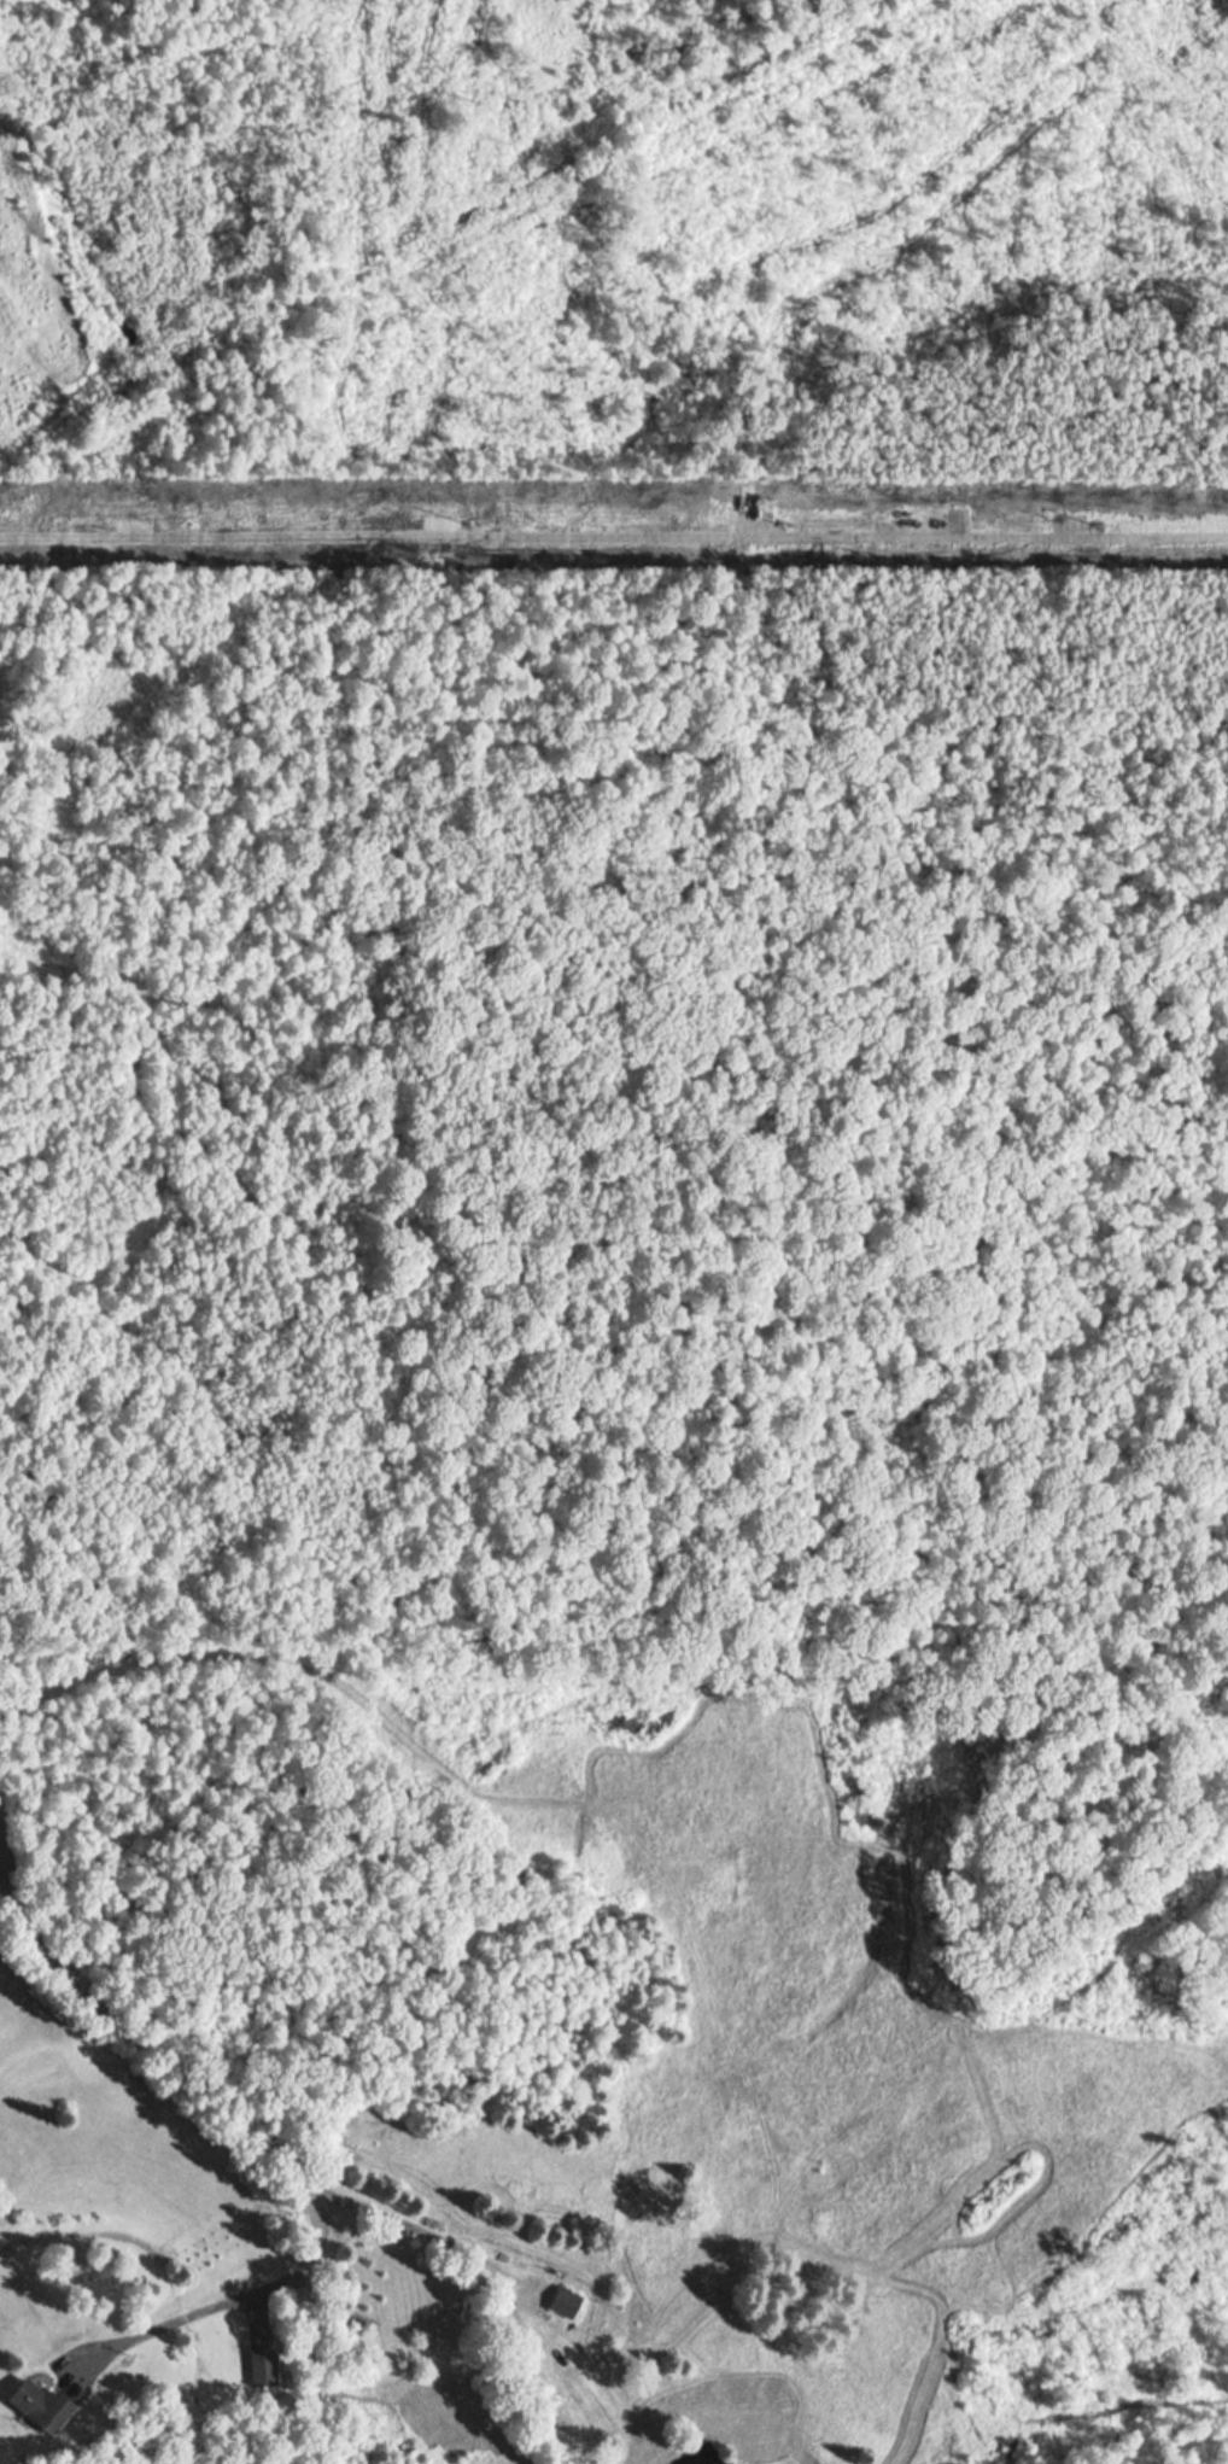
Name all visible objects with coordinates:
road: (151, 2084)
building: (557, 2302)
building: (510, 2317)
building: (261, 2367)
building: (27, 2404)

